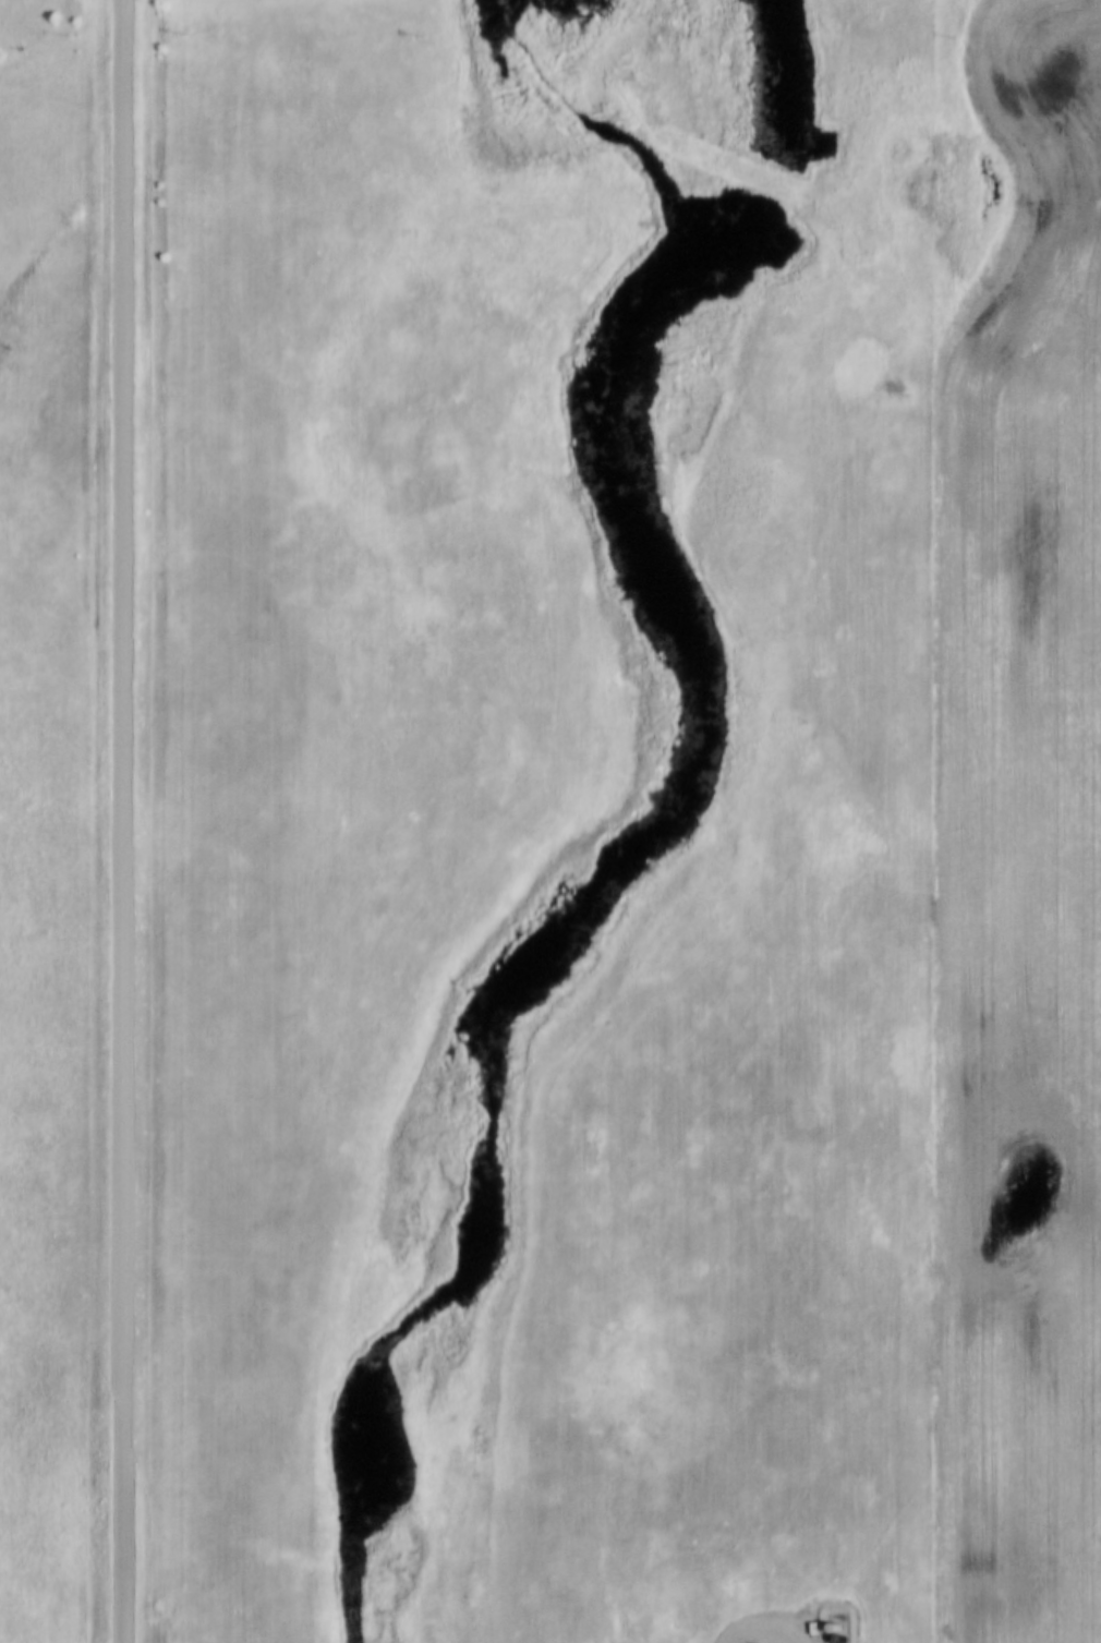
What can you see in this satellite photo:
road: (123, 821)
road: (804, 1641)

